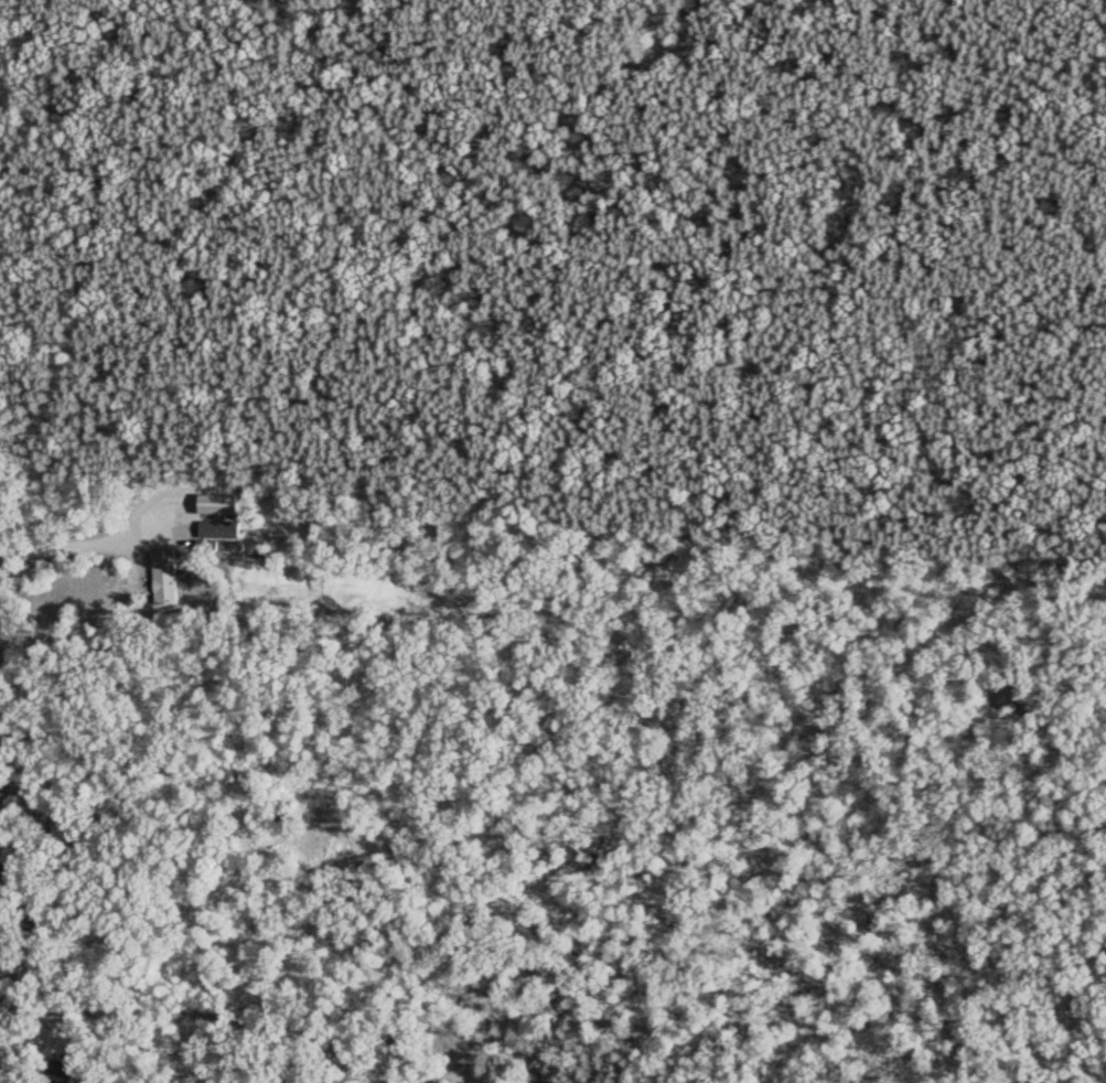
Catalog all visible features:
building: (40, 912)

